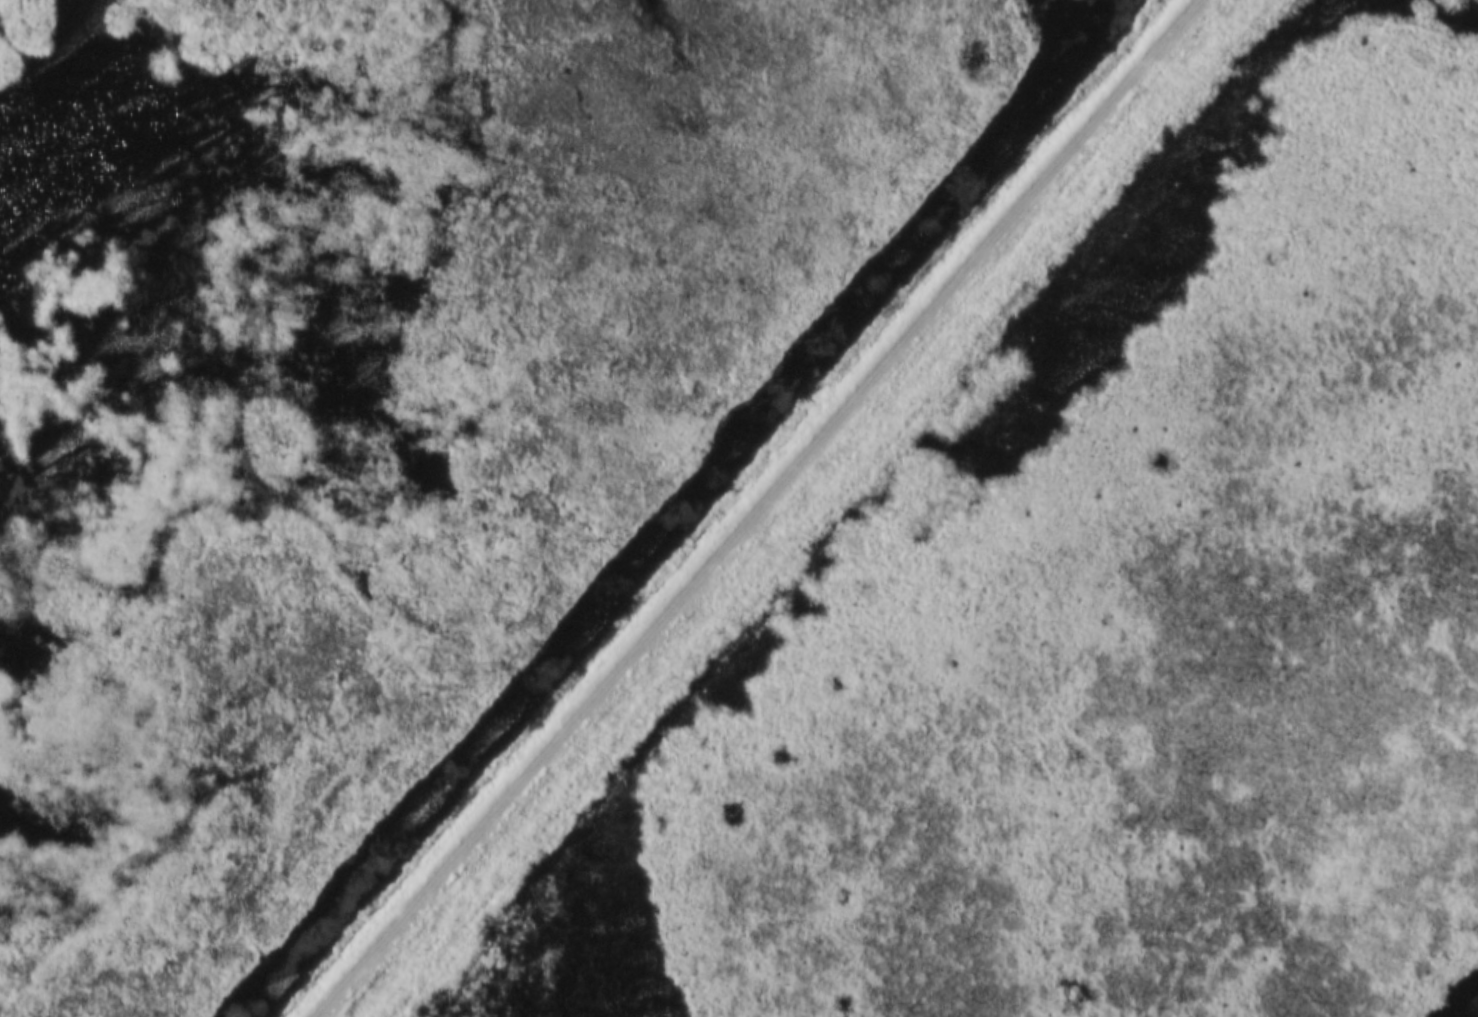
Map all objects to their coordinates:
road: (760, 509)
dam: (789, 509)

